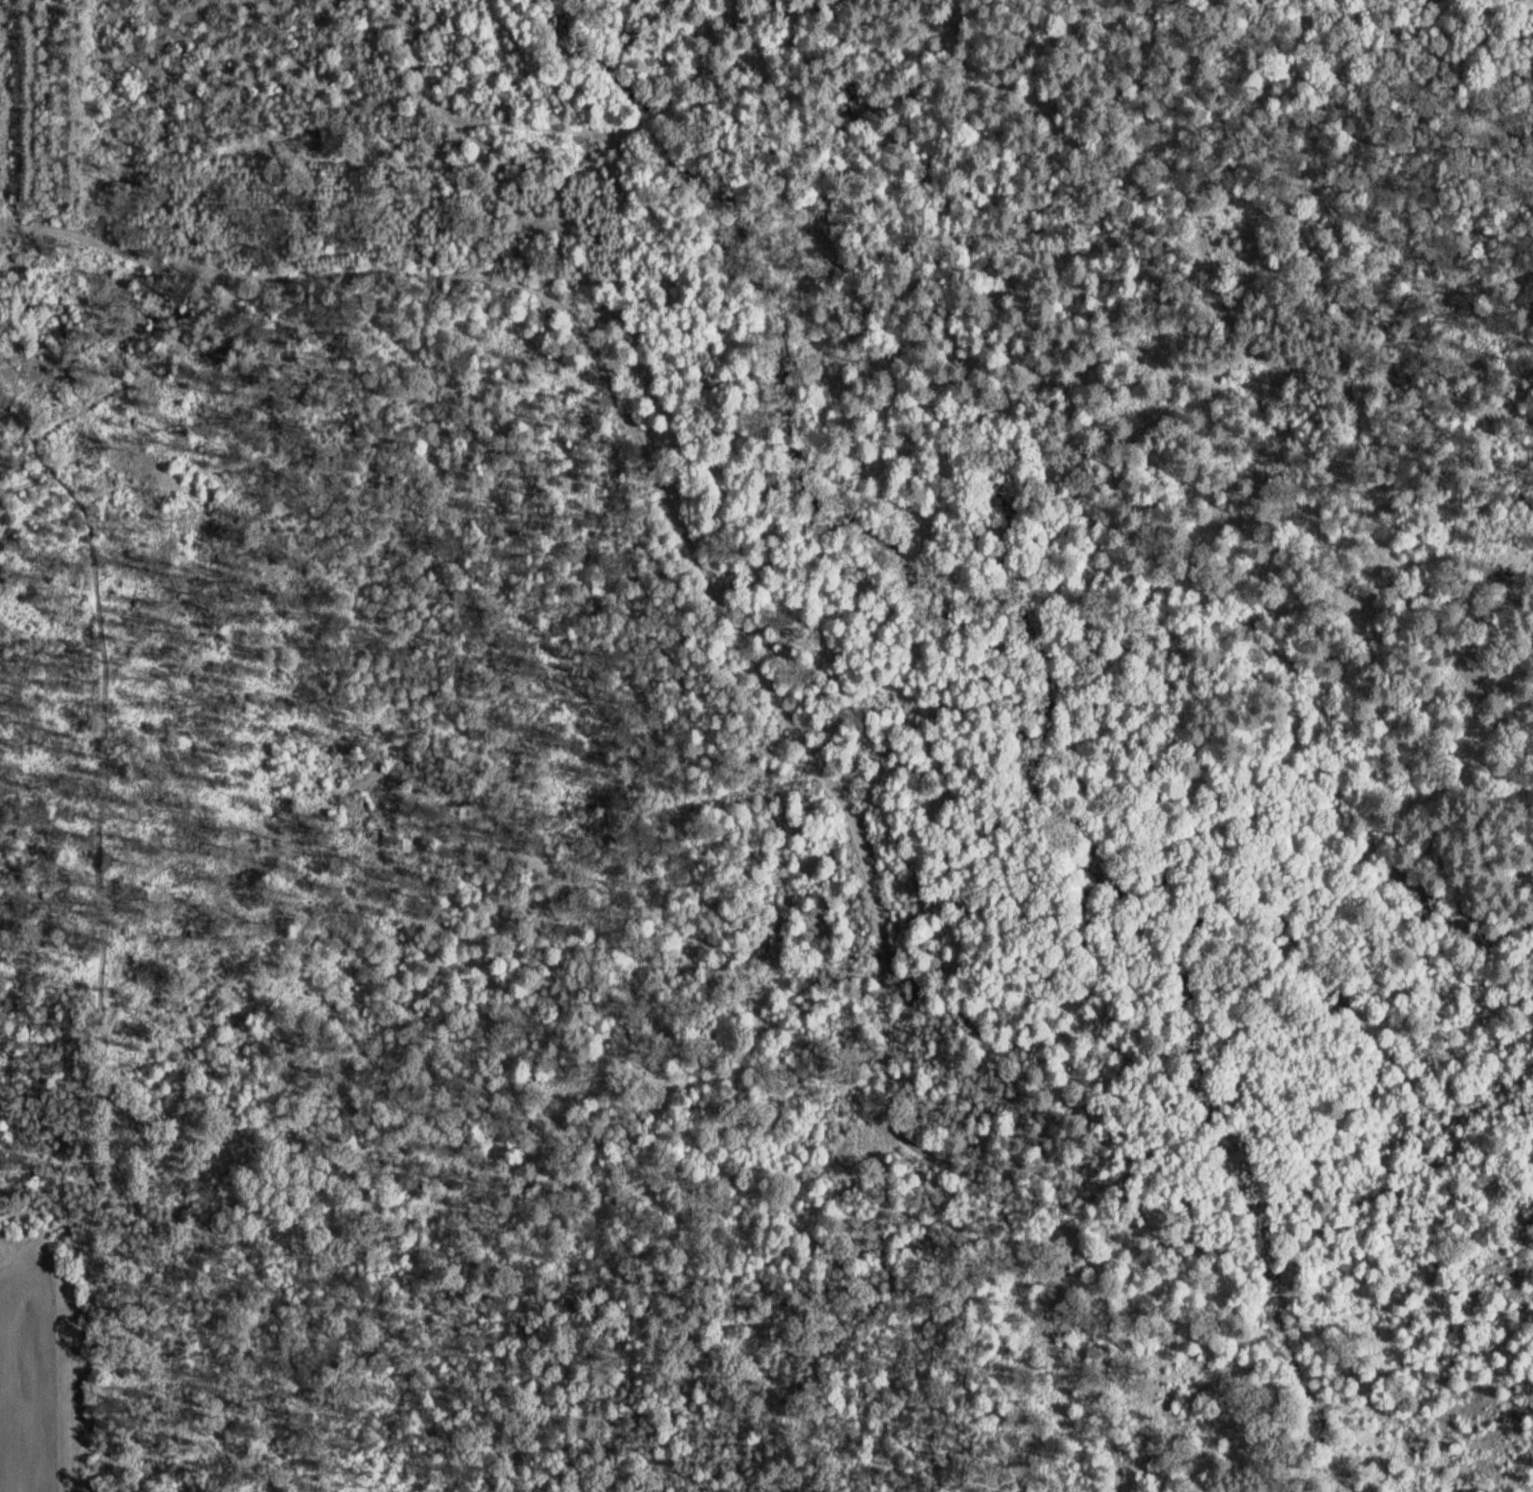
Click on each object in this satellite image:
road: (1094, 1265)

